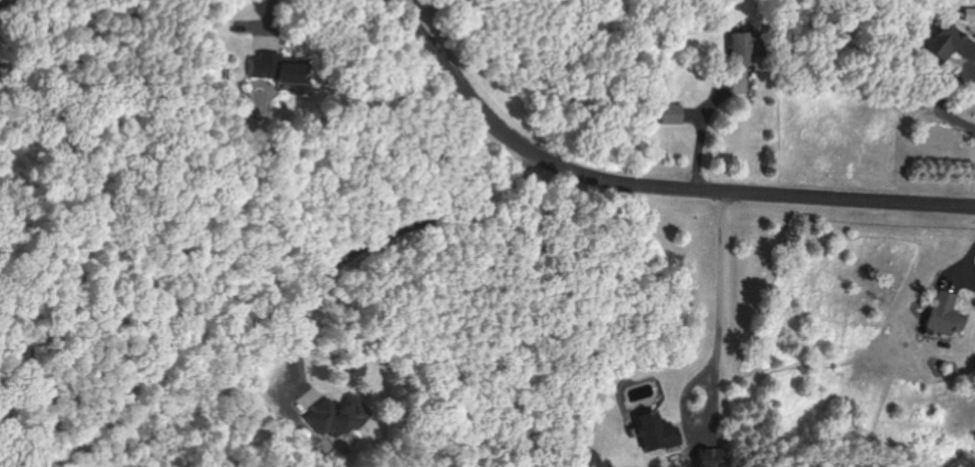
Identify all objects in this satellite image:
building: (947, 41)
building: (743, 57)
building: (0, 65)
building: (279, 70)
building: (669, 113)
road: (651, 185)
road: (382, 234)
road: (718, 296)
building: (943, 313)
building: (343, 412)
building: (656, 430)
building: (710, 457)

